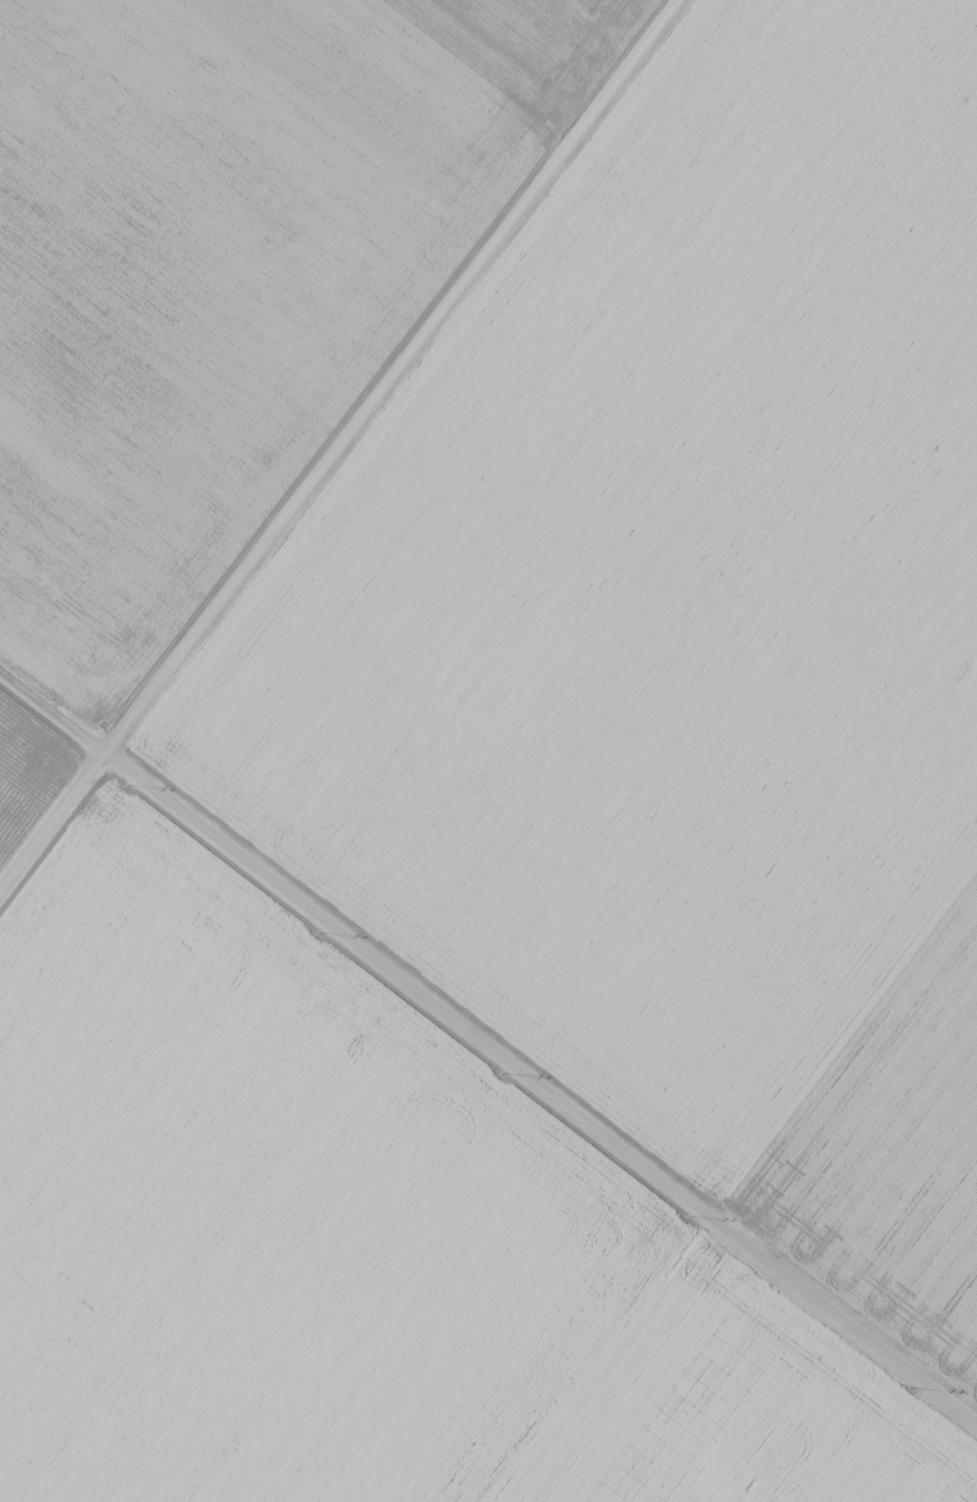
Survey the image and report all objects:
road: (346, 455)
road: (488, 1044)

